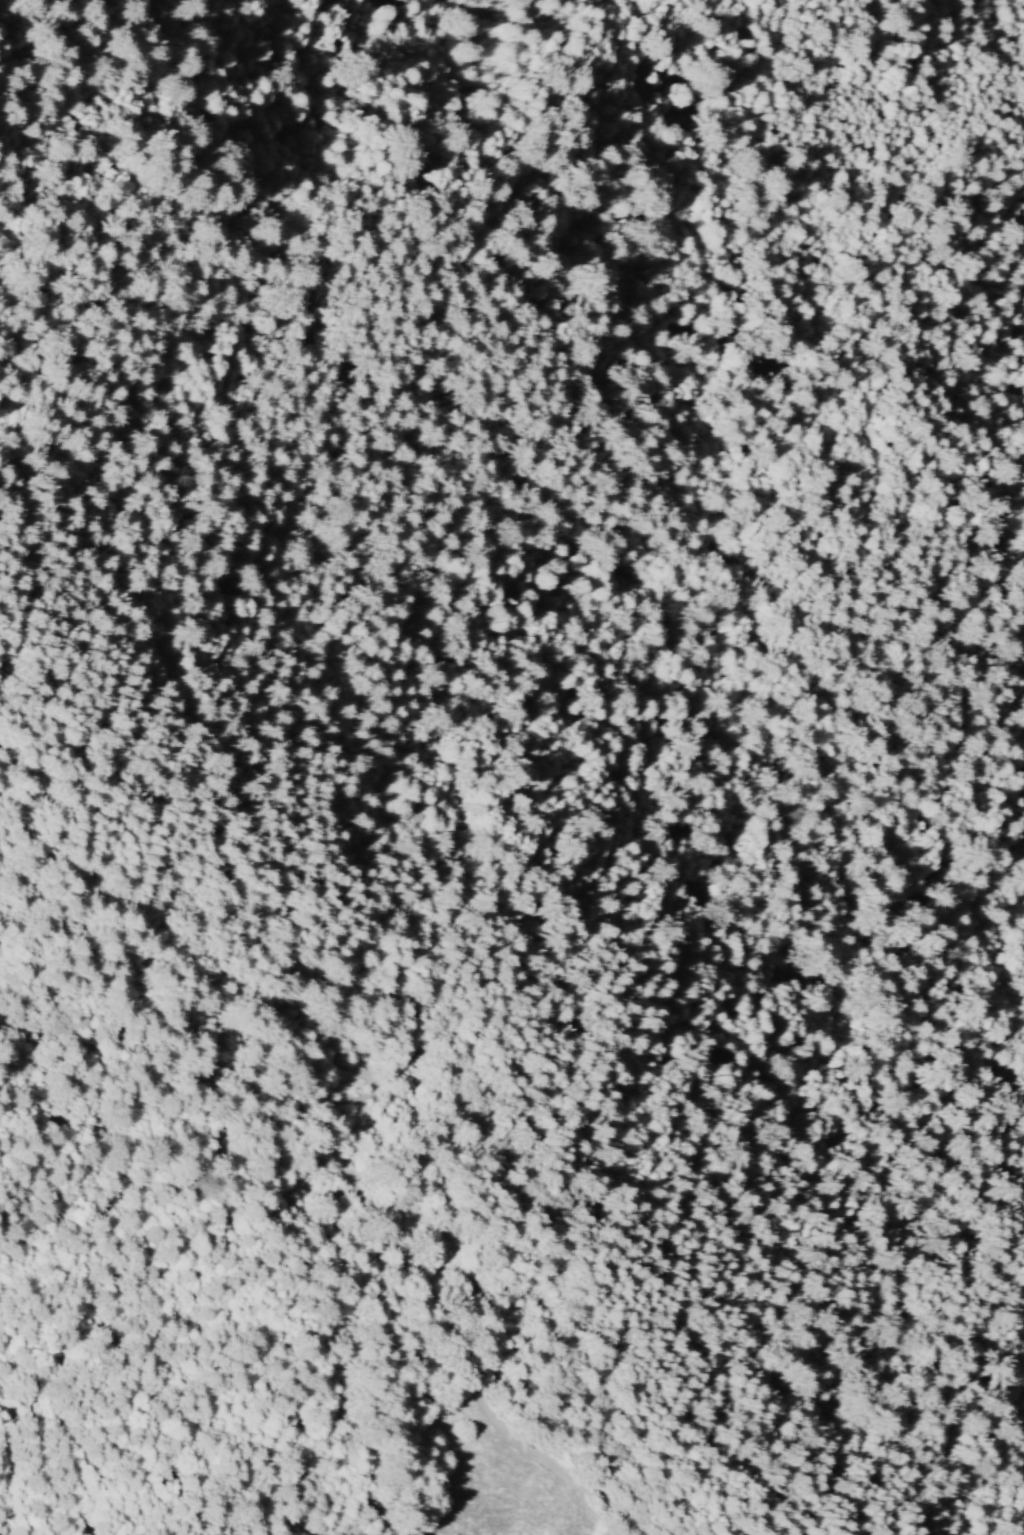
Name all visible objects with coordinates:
road: (373, 1197)

